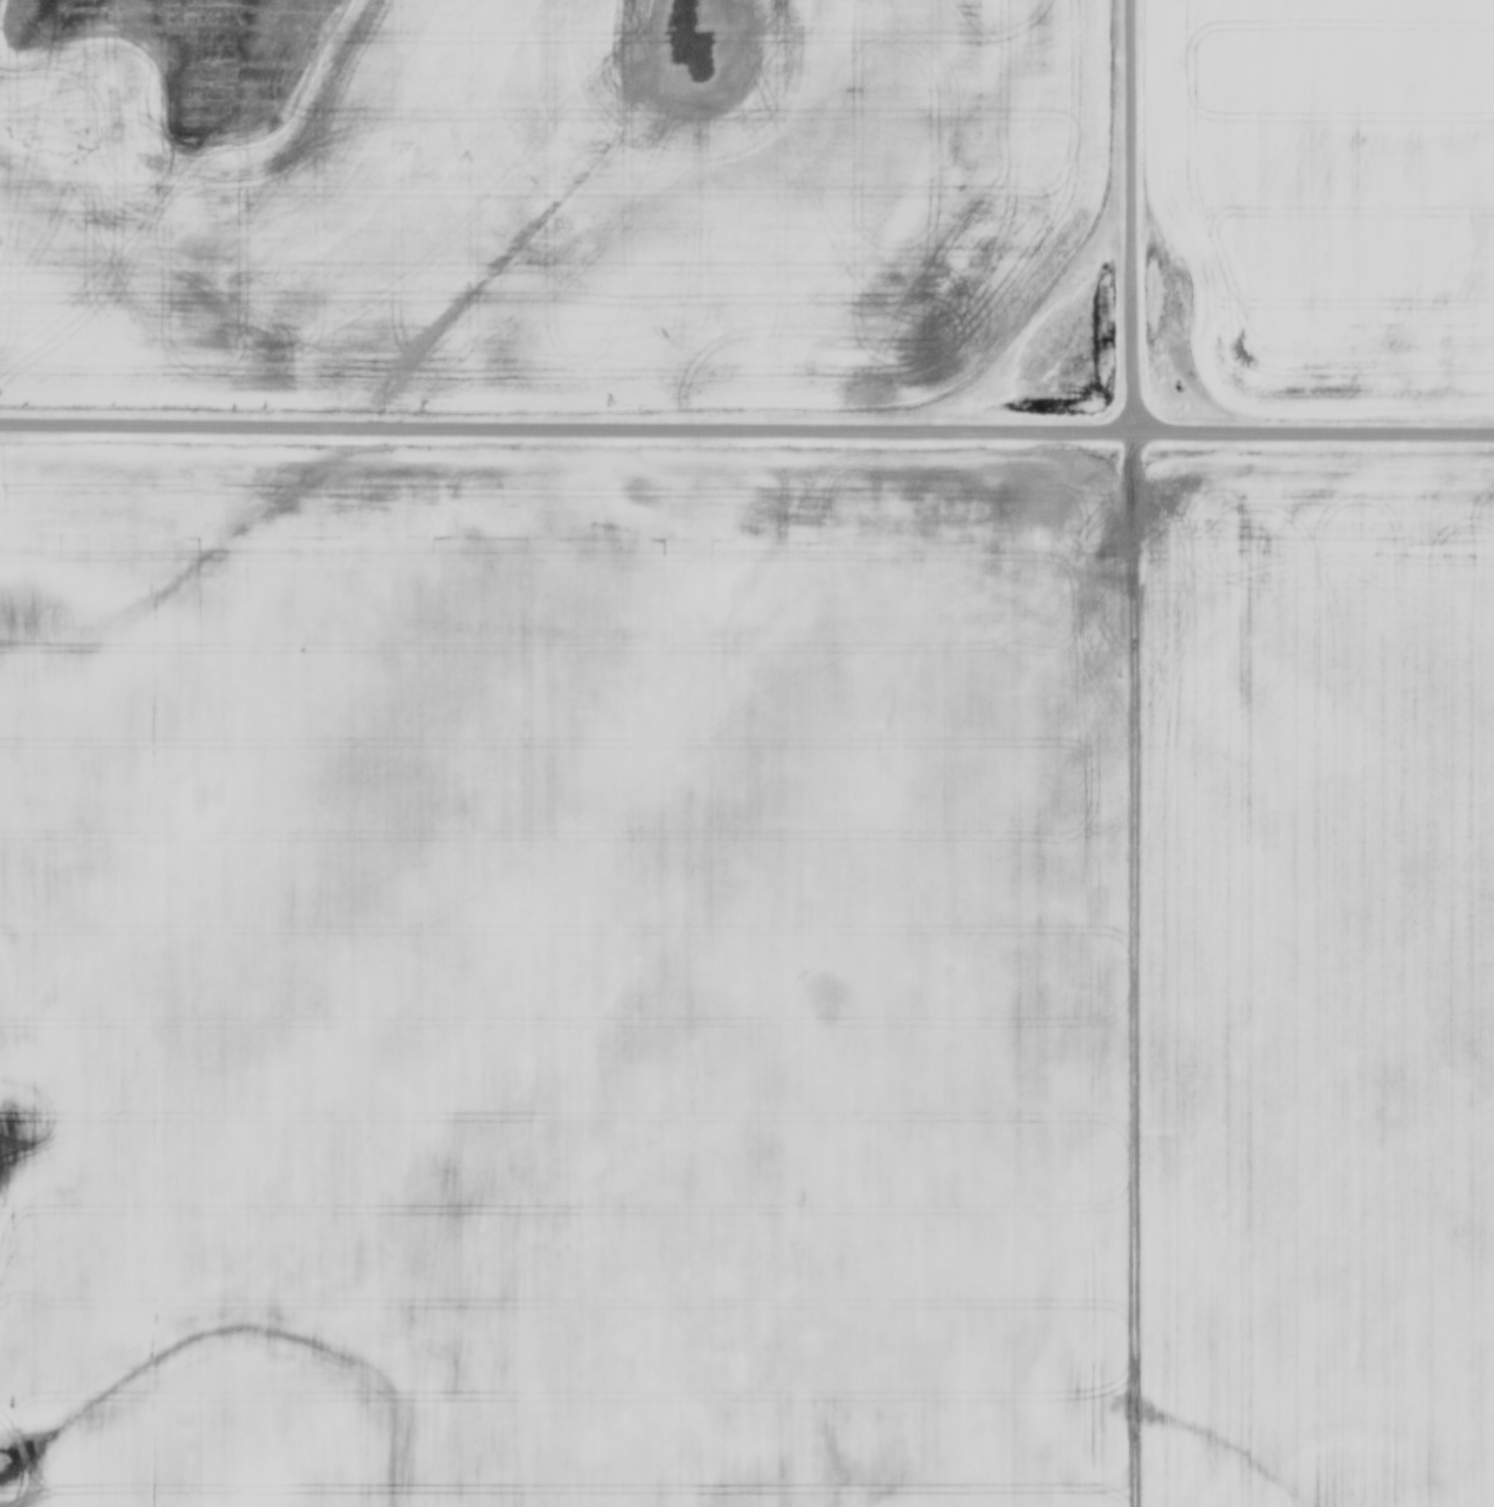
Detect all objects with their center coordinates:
road: (1134, 213)
road: (746, 424)
road: (1139, 966)

